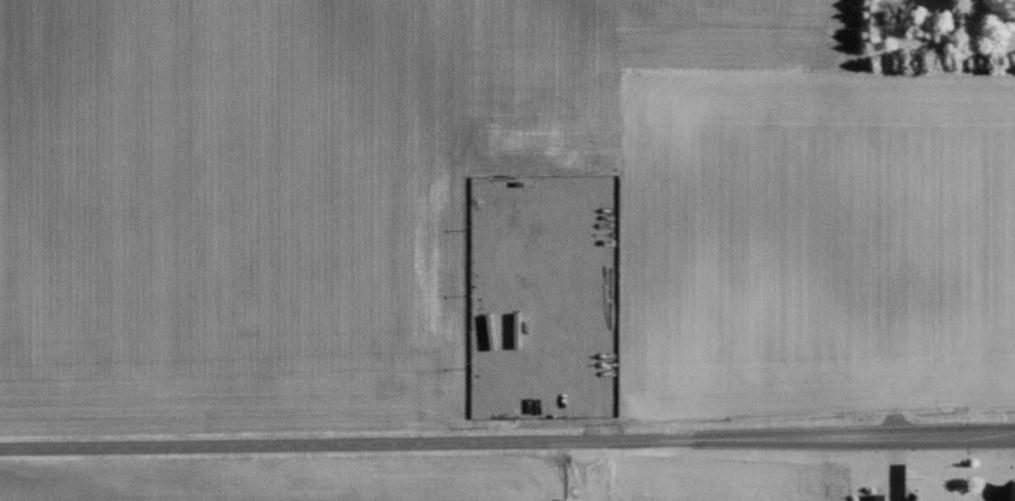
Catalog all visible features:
road: (589, 292)
road: (507, 442)
building: (1005, 492)
building: (872, 498)

